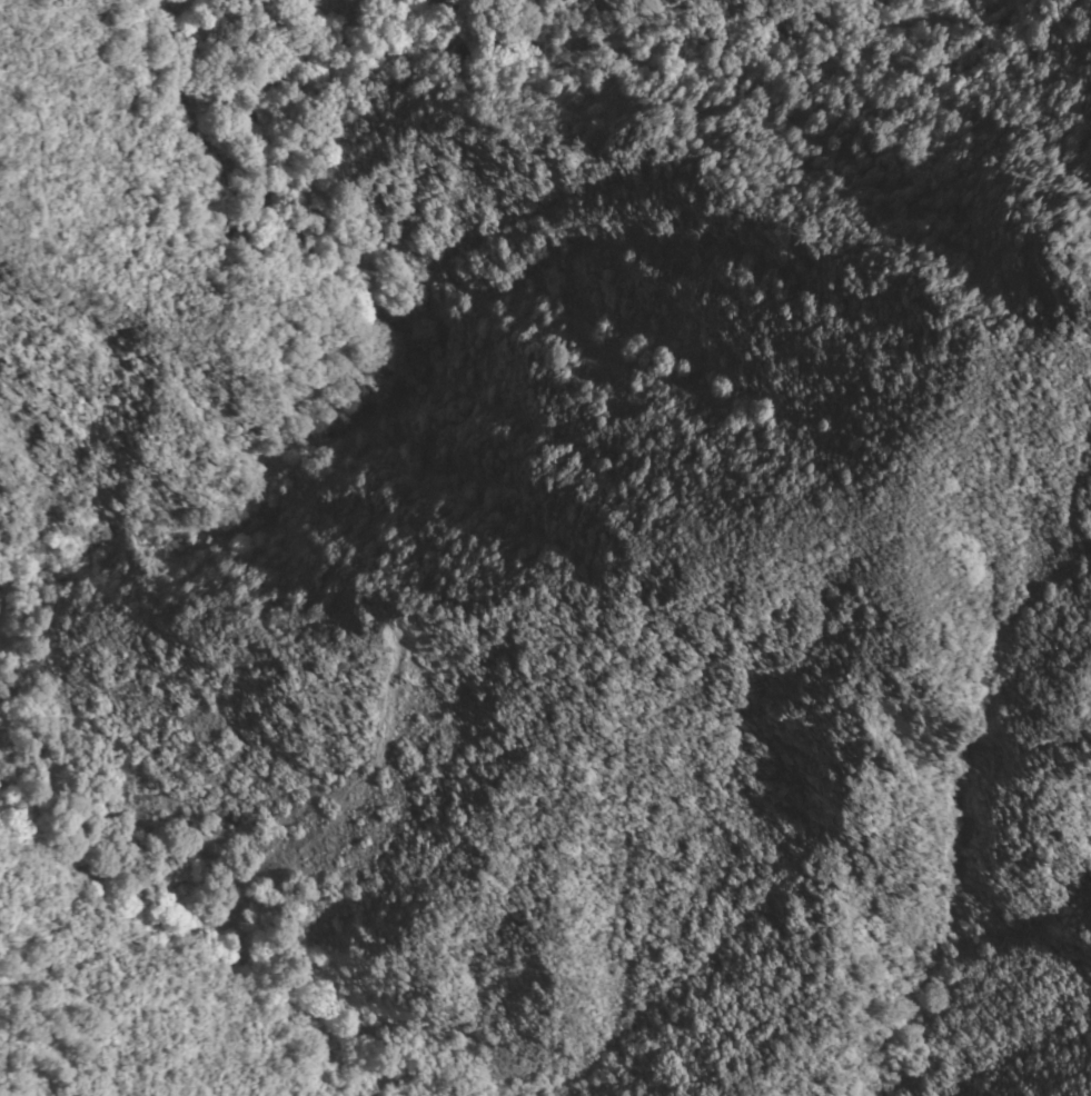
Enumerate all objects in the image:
road: (40, 179)

